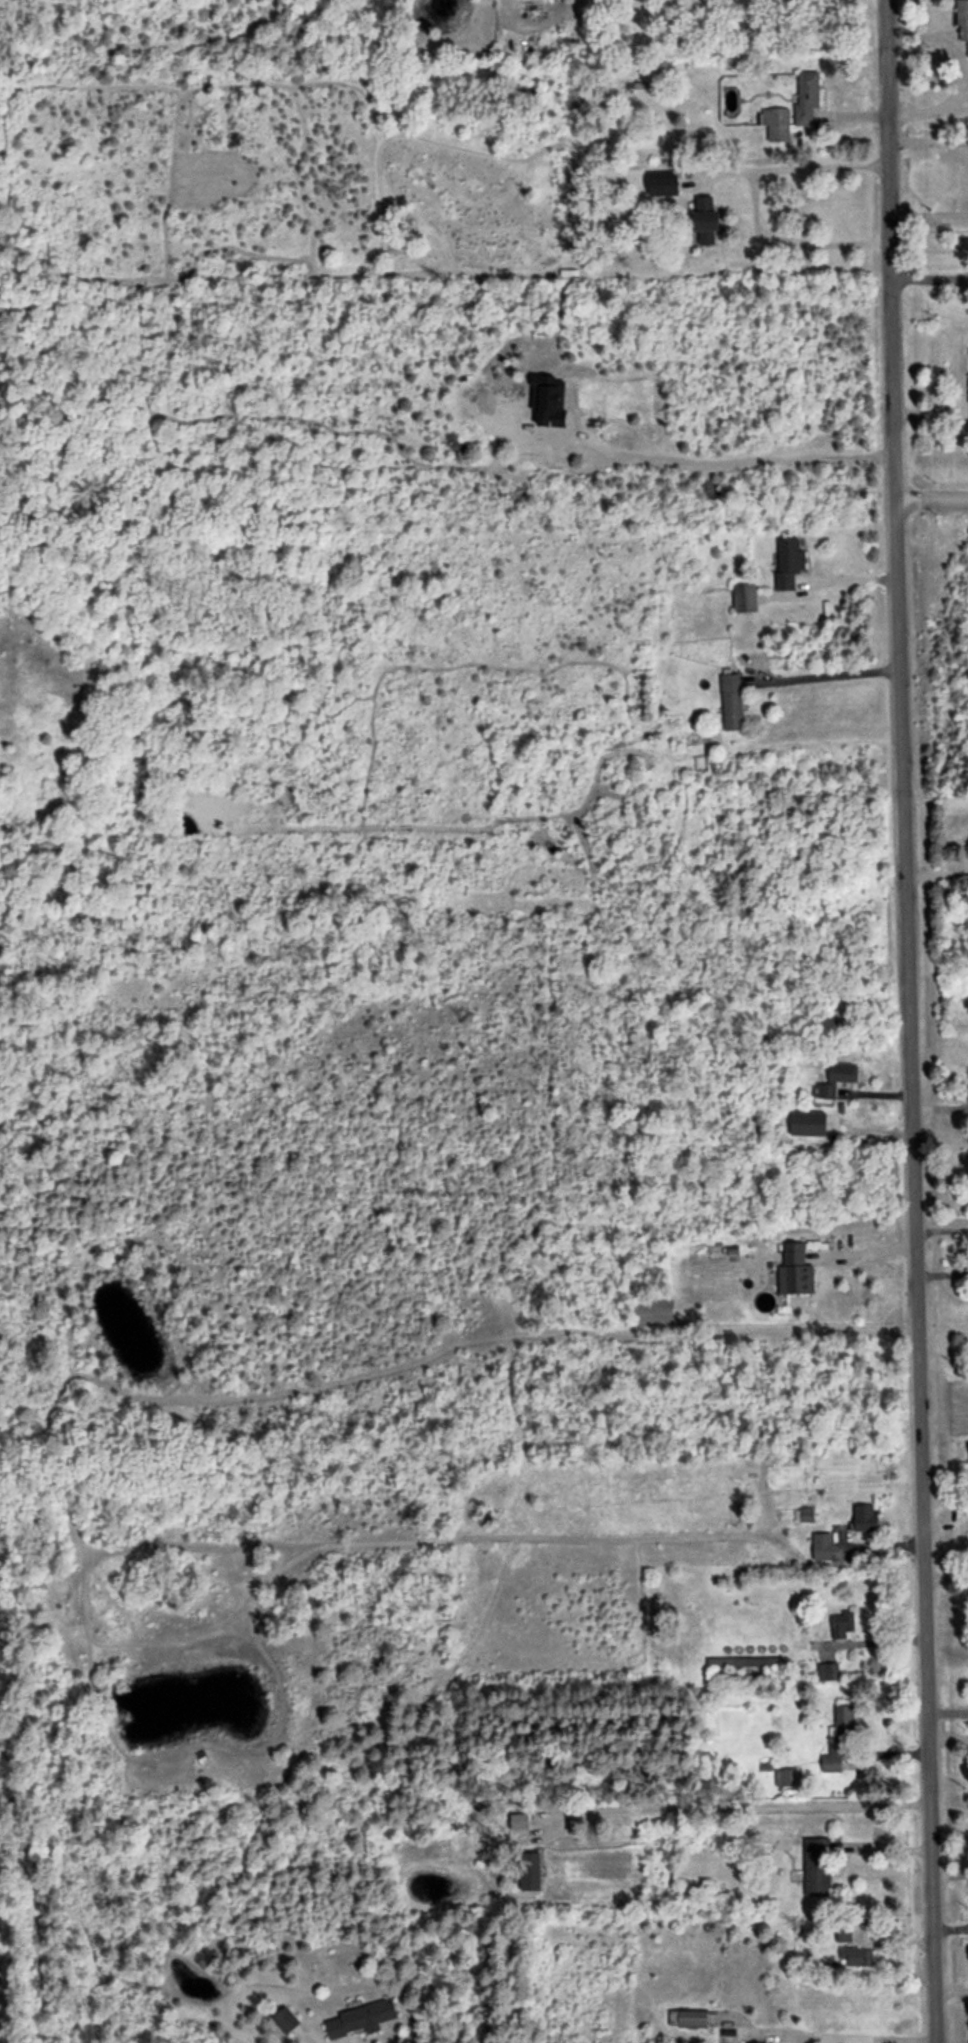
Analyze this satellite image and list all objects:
building: (962, 20)
building: (806, 97)
building: (776, 123)
road: (929, 142)
road: (795, 168)
building: (664, 182)
road: (929, 217)
building: (704, 221)
road: (930, 278)
road: (932, 495)
building: (788, 561)
building: (744, 597)
road: (826, 674)
building: (732, 701)
road: (936, 874)
road: (910, 1021)
building: (835, 1079)
building: (807, 1122)
road: (942, 1230)
road: (862, 1251)
building: (794, 1269)
road: (942, 1274)
building: (865, 1517)
building: (822, 1545)
building: (842, 1624)
building: (838, 1738)
building: (786, 1776)
road: (736, 1806)
building: (518, 1820)
building: (817, 1866)
building: (530, 1870)
building: (857, 1956)
road: (952, 1991)
building: (361, 2017)
building: (688, 2017)
building: (285, 2018)
road: (851, 2037)

